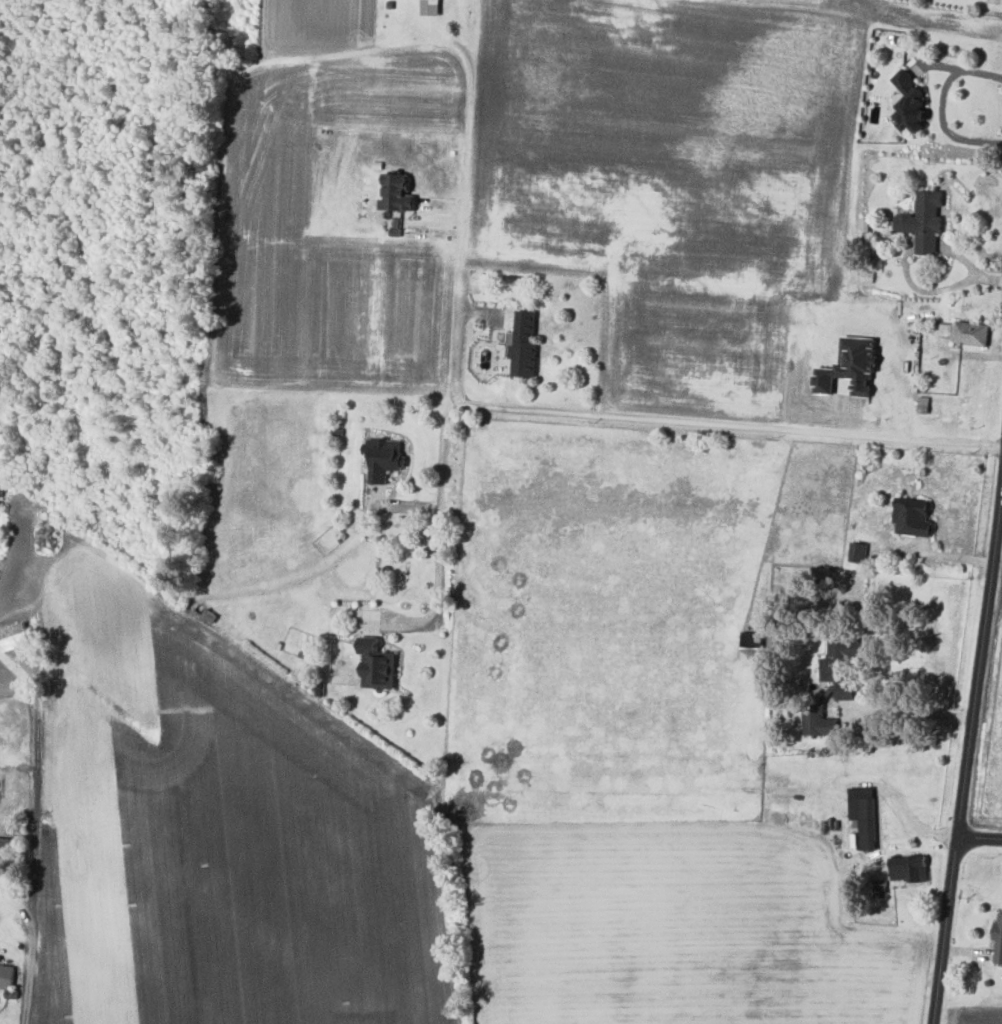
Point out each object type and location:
road: (962, 68)
building: (910, 103)
road: (943, 126)
building: (396, 193)
building: (924, 221)
road: (462, 228)
building: (966, 333)
building: (524, 345)
building: (851, 368)
road: (621, 417)
building: (383, 458)
building: (913, 517)
building: (858, 552)
building: (14, 637)
building: (376, 663)
building: (842, 664)
road: (913, 713)
building: (818, 721)
road: (969, 768)
building: (869, 824)
road: (981, 841)
road: (33, 866)
building: (910, 867)
building: (998, 938)
building: (6, 976)

